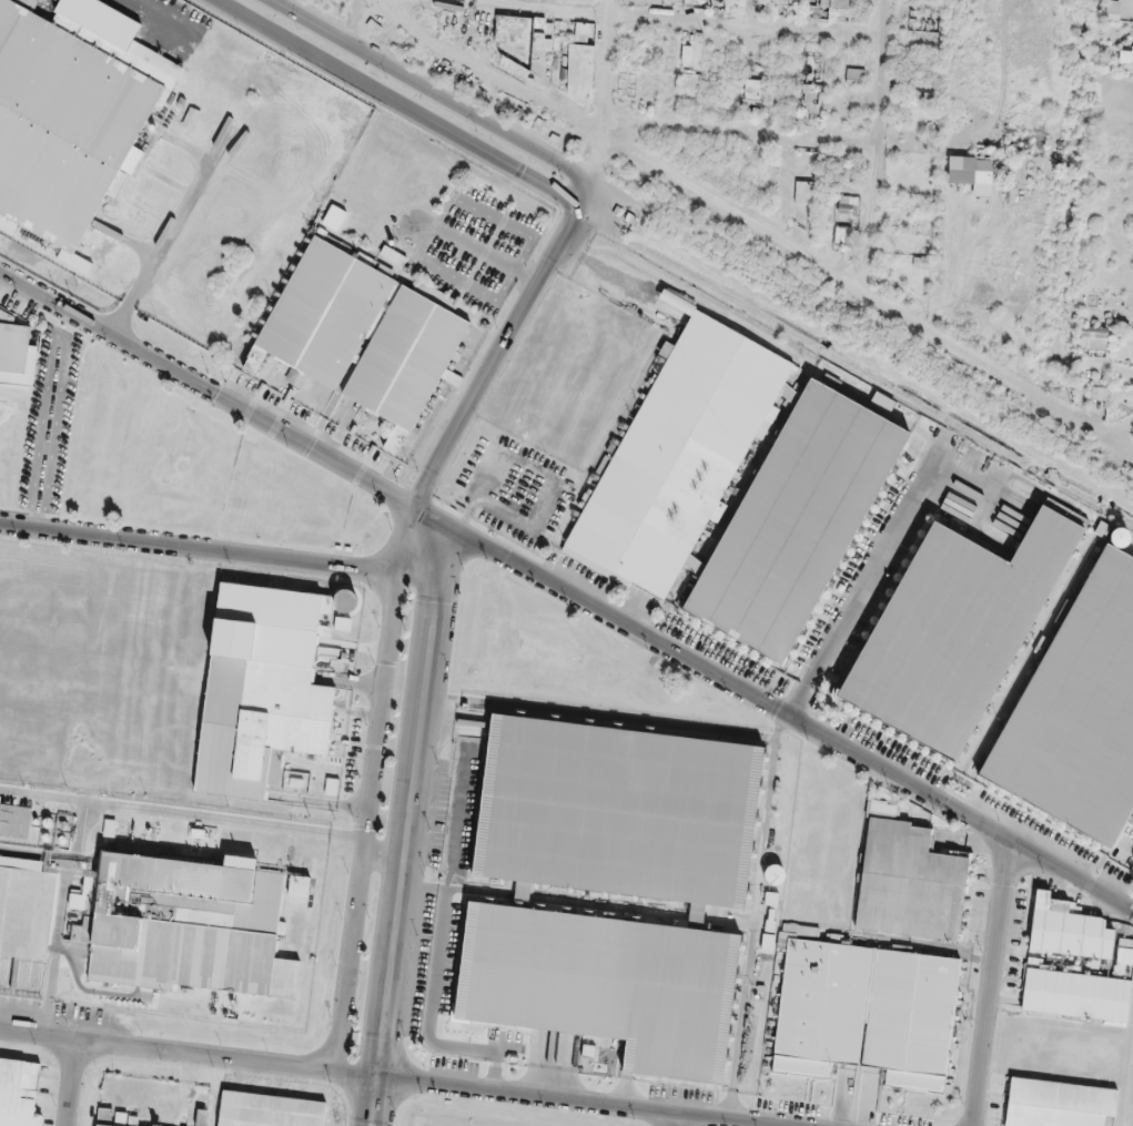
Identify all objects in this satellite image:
building: (694, 0)
road: (629, 20)
road: (356, 22)
road: (609, 70)
building: (752, 84)
road: (432, 91)
road: (401, 105)
building: (71, 113)
road: (742, 136)
road: (607, 141)
road: (880, 144)
road: (527, 234)
road: (476, 250)
road: (527, 276)
building: (323, 314)
building: (407, 361)
road: (988, 369)
road: (53, 422)
road: (1125, 437)
building: (682, 453)
building: (797, 519)
road: (398, 584)
road: (867, 585)
road: (566, 592)
building: (957, 625)
building: (1080, 710)
building: (1073, 964)

